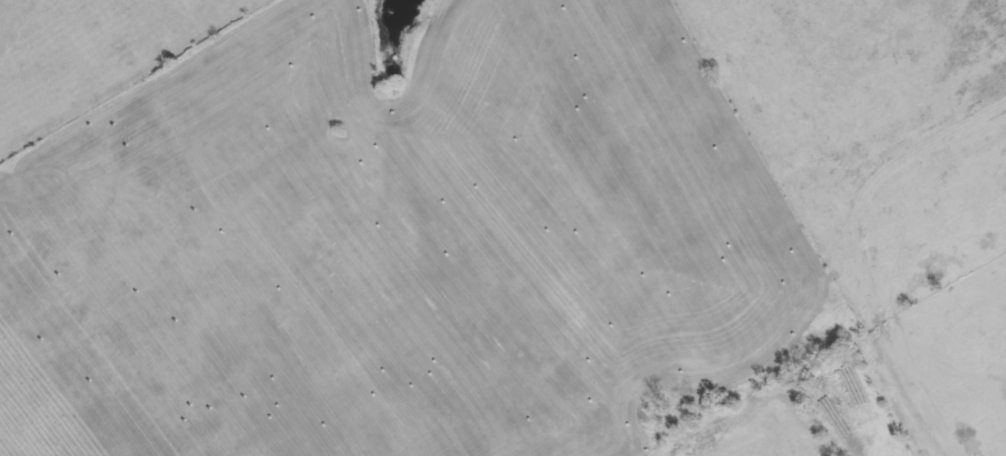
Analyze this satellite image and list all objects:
road: (858, 245)

